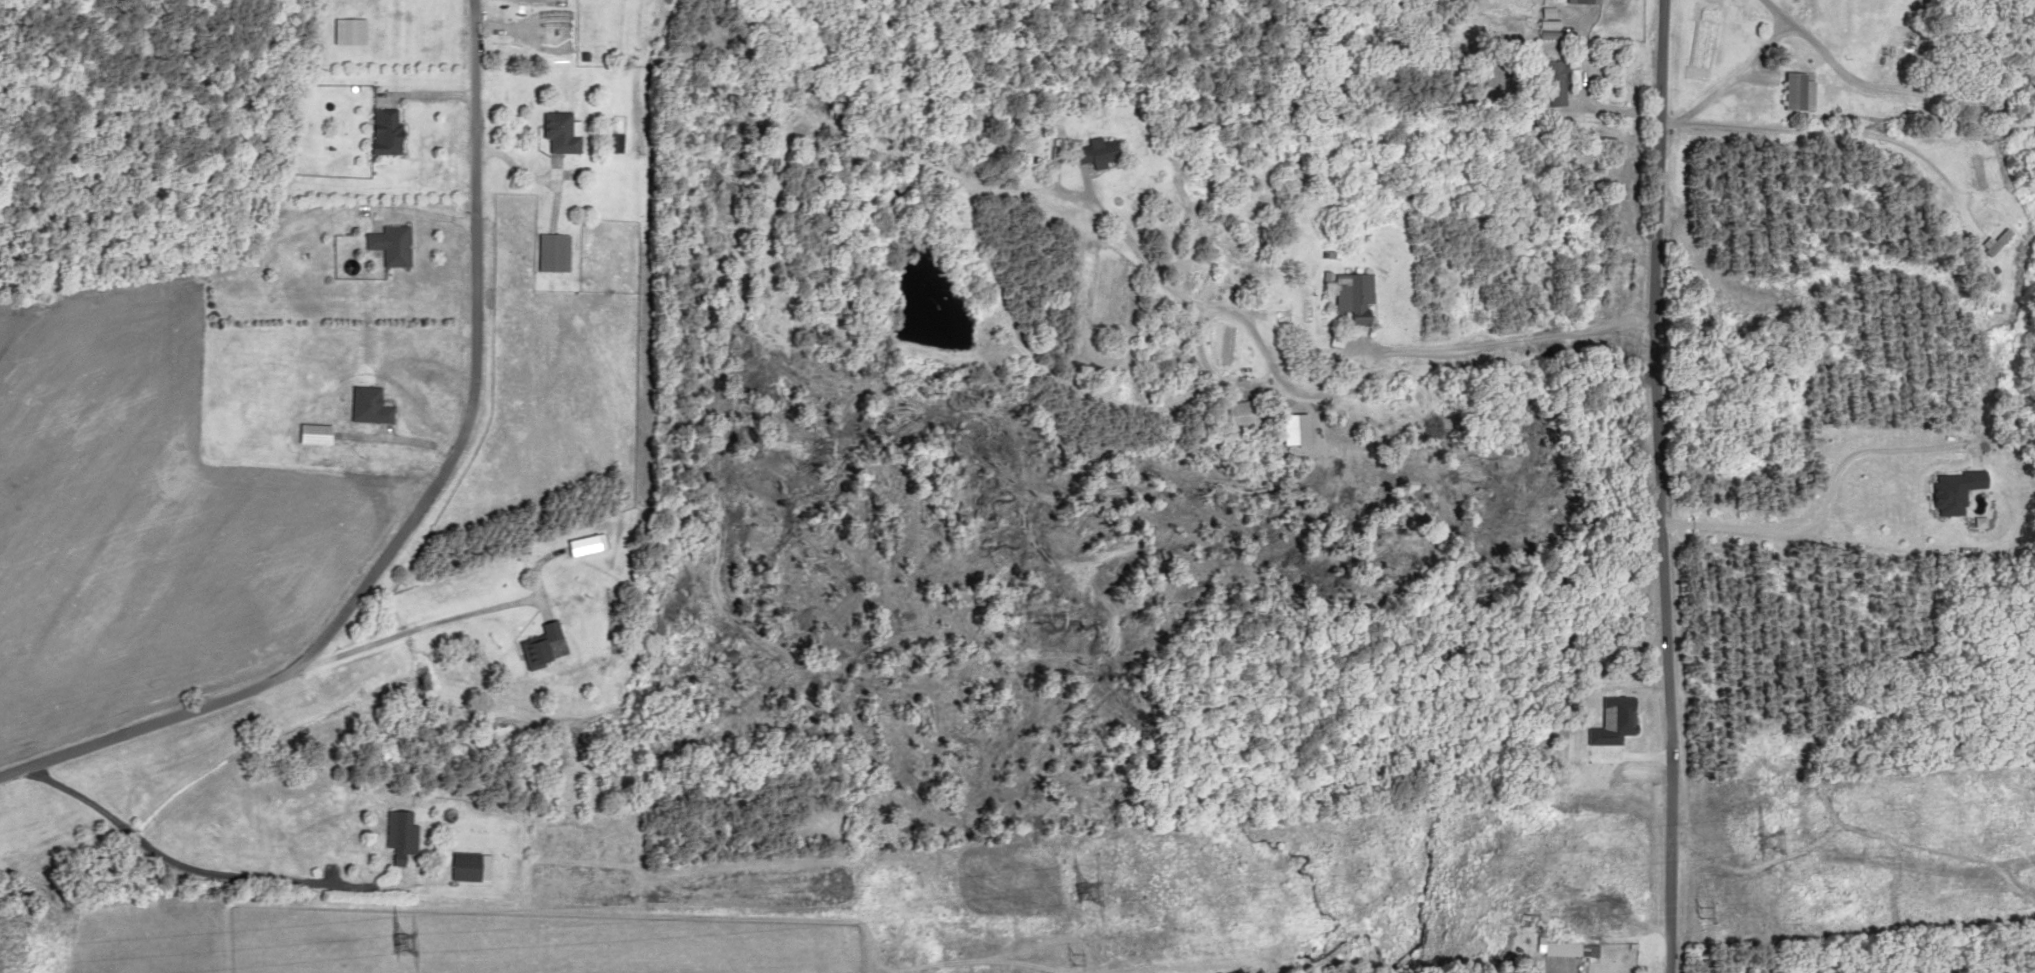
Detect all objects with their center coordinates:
building: (1582, 1)
building: (346, 31)
building: (1553, 82)
building: (1795, 91)
building: (382, 131)
building: (557, 131)
building: (1091, 151)
building: (1971, 169)
building: (1988, 241)
building: (386, 244)
building: (550, 251)
building: (1346, 295)
building: (364, 406)
building: (1235, 414)
building: (309, 434)
road: (1680, 486)
building: (591, 539)
building: (536, 645)
building: (397, 835)
power tower: (1782, 837)
building: (467, 866)
power tower: (1099, 891)
power tower: (1696, 910)
power tower: (413, 942)
building: (1562, 948)
power tower: (1067, 957)

